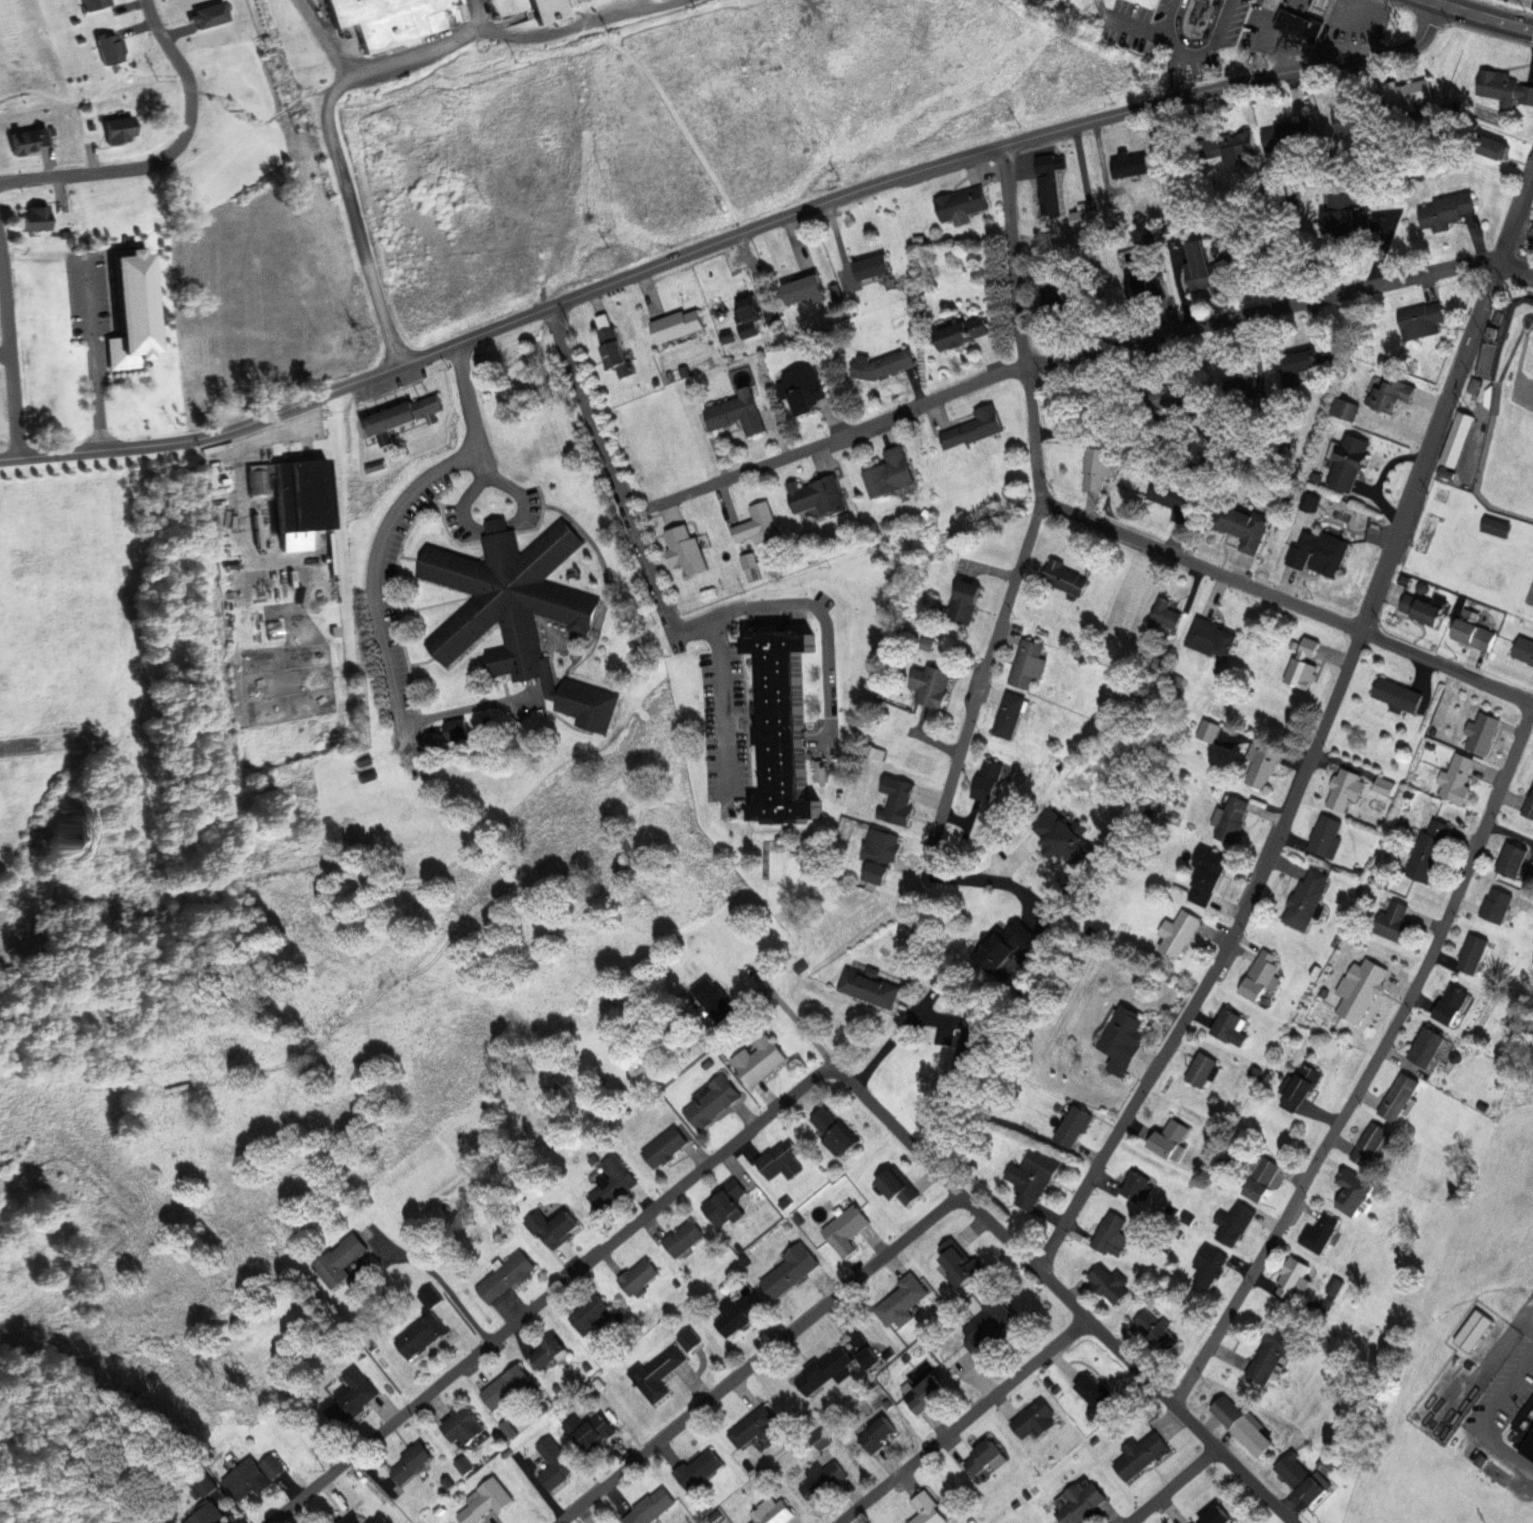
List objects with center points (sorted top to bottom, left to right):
parking lot: (1525, 2)
road: (1448, 3)
building: (96, 5)
building: (1326, 5)
building: (551, 9)
road: (482, 15)
building: (1197, 16)
building: (389, 17)
road: (1479, 17)
building: (1302, 26)
road: (472, 31)
building: (113, 48)
building: (1503, 85)
building: (1410, 91)
building: (1349, 119)
building: (122, 130)
building: (1289, 133)
building: (30, 142)
building: (1488, 144)
building: (1240, 146)
road: (1000, 148)
road: (170, 155)
building: (962, 203)
building: (1448, 208)
road: (353, 216)
building: (36, 219)
building: (1532, 248)
building: (874, 265)
building: (1208, 268)
road: (1515, 269)
building: (803, 286)
parking lot: (90, 295)
building: (1077, 298)
building: (135, 311)
building: (771, 311)
building: (748, 315)
building: (1422, 320)
building: (677, 324)
building: (965, 333)
building: (726, 335)
road: (12, 346)
building: (617, 351)
road: (6, 357)
road: (96, 358)
road: (1054, 359)
building: (1308, 359)
building: (885, 365)
building: (682, 371)
building: (670, 377)
building: (656, 382)
building: (802, 386)
building: (1392, 393)
road: (1447, 398)
building: (1347, 408)
road: (283, 412)
building: (738, 413)
building: (403, 416)
building: (974, 426)
park: (1503, 431)
building: (1349, 461)
building: (377, 465)
building: (1099, 467)
road: (611, 469)
building: (891, 472)
park: (1484, 475)
building: (259, 480)
building: (306, 494)
building: (817, 494)
building: (1177, 496)
building: (757, 523)
building: (1243, 523)
building: (1497, 525)
road: (477, 527)
road: (384, 536)
building: (685, 548)
building: (1321, 550)
road: (1022, 554)
building: (748, 558)
building: (1061, 578)
park: (1530, 594)
building: (509, 598)
road: (1287, 600)
building: (965, 602)
building: (1422, 606)
road: (815, 607)
parking lot: (396, 609)
building: (1164, 611)
building: (1470, 631)
building: (1212, 637)
building: (1524, 650)
building: (1027, 664)
building: (1304, 664)
building: (934, 686)
building: (1398, 693)
building: (587, 703)
road: (726, 711)
building: (1010, 714)
building: (487, 721)
parking lot: (725, 724)
building: (784, 725)
building: (458, 728)
building: (1208, 729)
building: (1483, 731)
building: (363, 759)
building: (1262, 764)
parking lot: (403, 774)
building: (368, 775)
building: (1456, 778)
building: (990, 780)
building: (1385, 785)
building: (1346, 789)
building: (1529, 805)
building: (1231, 819)
building: (1327, 835)
building: (1063, 838)
building: (1429, 850)
building: (882, 852)
building: (1513, 858)
building: (1209, 874)
building: (1307, 899)
building: (1496, 904)
building: (1394, 921)
building: (1180, 933)
building: (1004, 945)
building: (1473, 952)
road: (1219, 960)
building: (1261, 975)
building: (869, 985)
building: (1361, 988)
building: (713, 1000)
building: (1452, 1004)
road: (796, 1019)
building: (1229, 1026)
building: (1124, 1038)
building: (972, 1044)
building: (1428, 1047)
building: (758, 1059)
road: (1371, 1066)
building: (1203, 1069)
building: (1306, 1082)
building: (1401, 1096)
building: (714, 1100)
building: (1073, 1125)
building: (834, 1131)
building: (1172, 1139)
building: (1374, 1143)
building: (666, 1147)
building: (781, 1159)
building: (1267, 1167)
building: (1035, 1174)
building: (615, 1184)
building: (1137, 1185)
building: (899, 1186)
building: (1257, 1189)
building: (1359, 1190)
building: (787, 1201)
building: (726, 1203)
building: (799, 1218)
building: (1233, 1222)
building: (556, 1226)
building: (846, 1229)
building: (1323, 1232)
building: (1113, 1234)
building: (685, 1236)
building: (339, 1259)
building: (748, 1259)
building: (962, 1261)
building: (1210, 1265)
building: (791, 1269)
building: (506, 1275)
building: (640, 1276)
building: (1297, 1279)
road: (442, 1281)
building: (1111, 1281)
road: (551, 1292)
building: (430, 1295)
road: (1064, 1295)
building: (904, 1300)
building: (738, 1313)
building: (593, 1315)
building: (989, 1326)
building: (1475, 1330)
building: (1156, 1332)
building: (424, 1333)
building: (549, 1351)
building: (1274, 1354)
building: (600, 1356)
building: (867, 1356)
road: (759, 1358)
building: (588, 1367)
building: (825, 1370)
building: (658, 1372)
building: (508, 1385)
building: (557, 1389)
building: (1095, 1391)
building: (928, 1393)
building: (352, 1396)
building: (1035, 1418)
road: (964, 1421)
building: (465, 1425)
building: (754, 1425)
building: (1242, 1425)
building: (511, 1428)
building: (1526, 1429)
building: (590, 1430)
building: (879, 1434)
building: (821, 1438)
building: (1472, 1451)
building: (1143, 1455)
building: (986, 1456)
building: (555, 1462)
building: (412, 1463)
building: (465, 1464)
building: (698, 1469)
building: (252, 1475)
building: (1303, 1478)
building: (822, 1480)
road: (1172, 1486)
building: (488, 1501)
building: (1083, 1503)
building: (650, 1506)
building: (927, 1509)
building: (773, 1510)
building: (206, 1514)
building: (1217, 1516)
building: (351, 1518)

